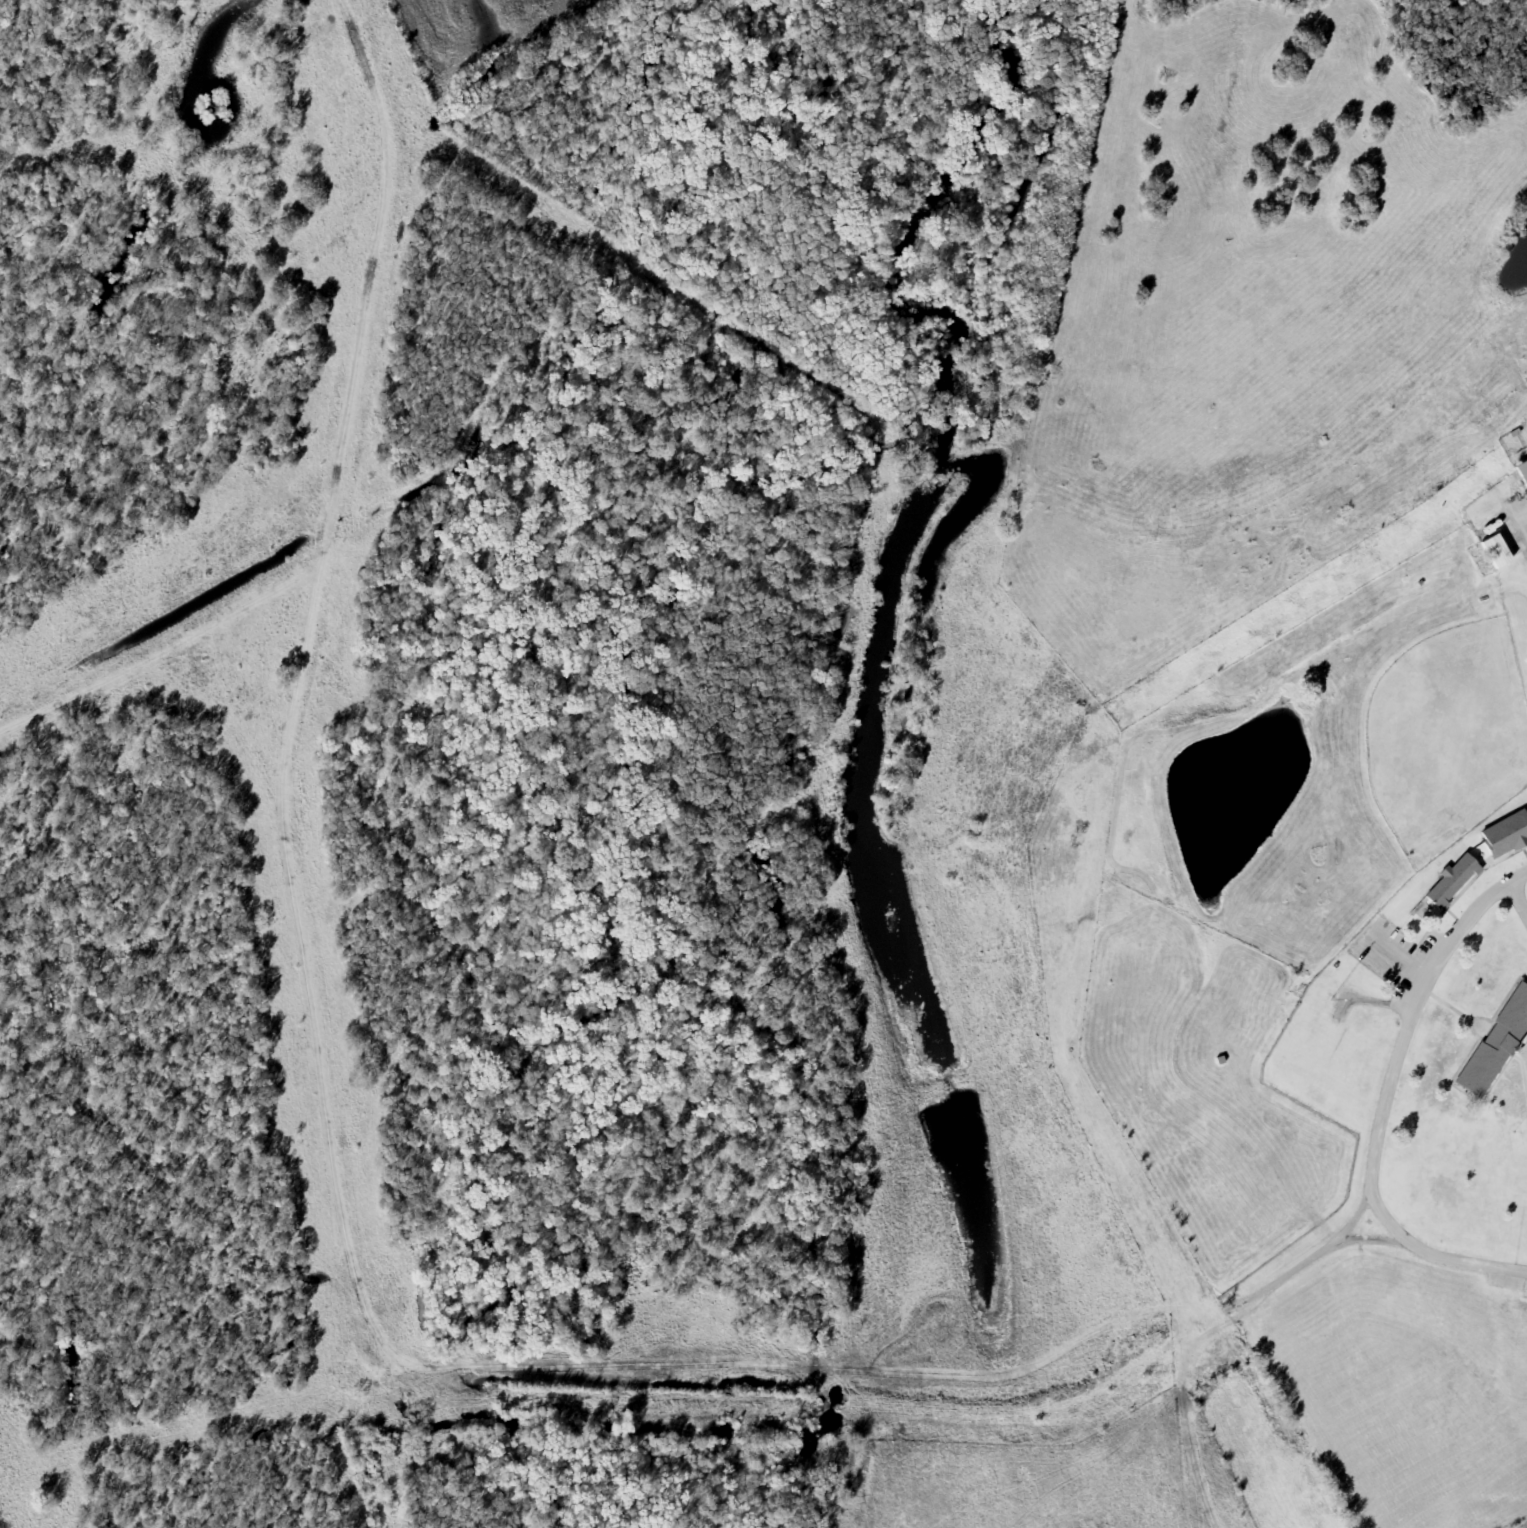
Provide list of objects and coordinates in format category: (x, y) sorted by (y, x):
building: (1523, 471)
building: (1495, 553)
building: (1506, 836)
building: (1452, 883)
building: (1497, 1046)
building: (1319, 1049)
road: (1402, 1107)
building: (1518, 1187)

